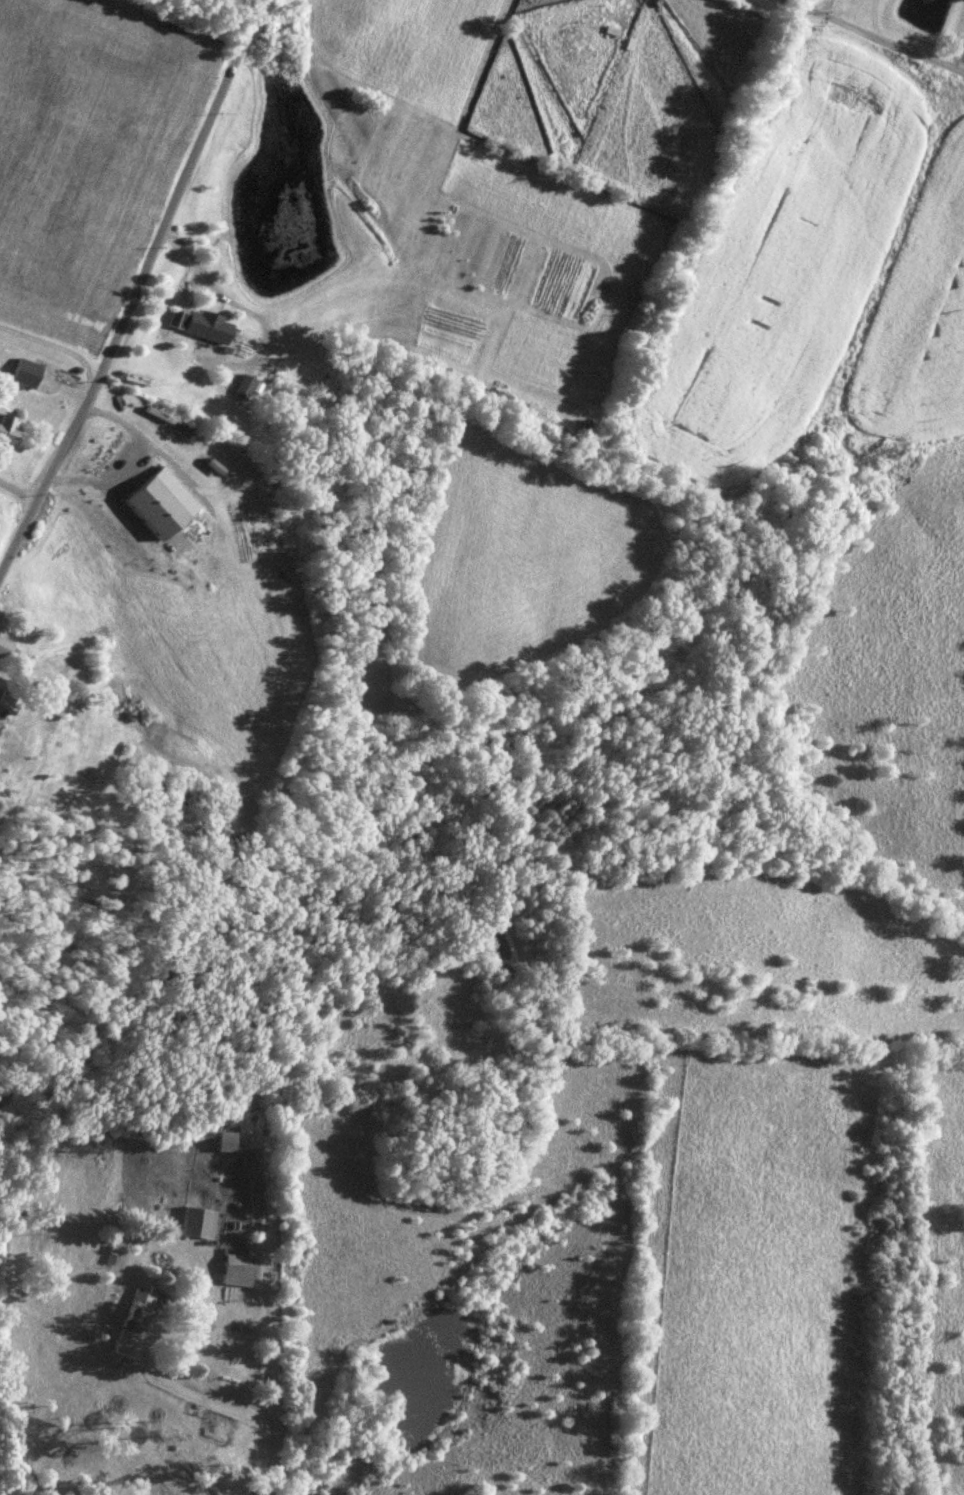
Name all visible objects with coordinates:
road: (795, 1)
road: (135, 290)
building: (201, 324)
building: (28, 371)
building: (10, 423)
road: (17, 495)
building: (2, 706)
building: (66, 712)
building: (201, 1221)
building: (241, 1269)
building: (139, 1322)
road: (277, 1396)

